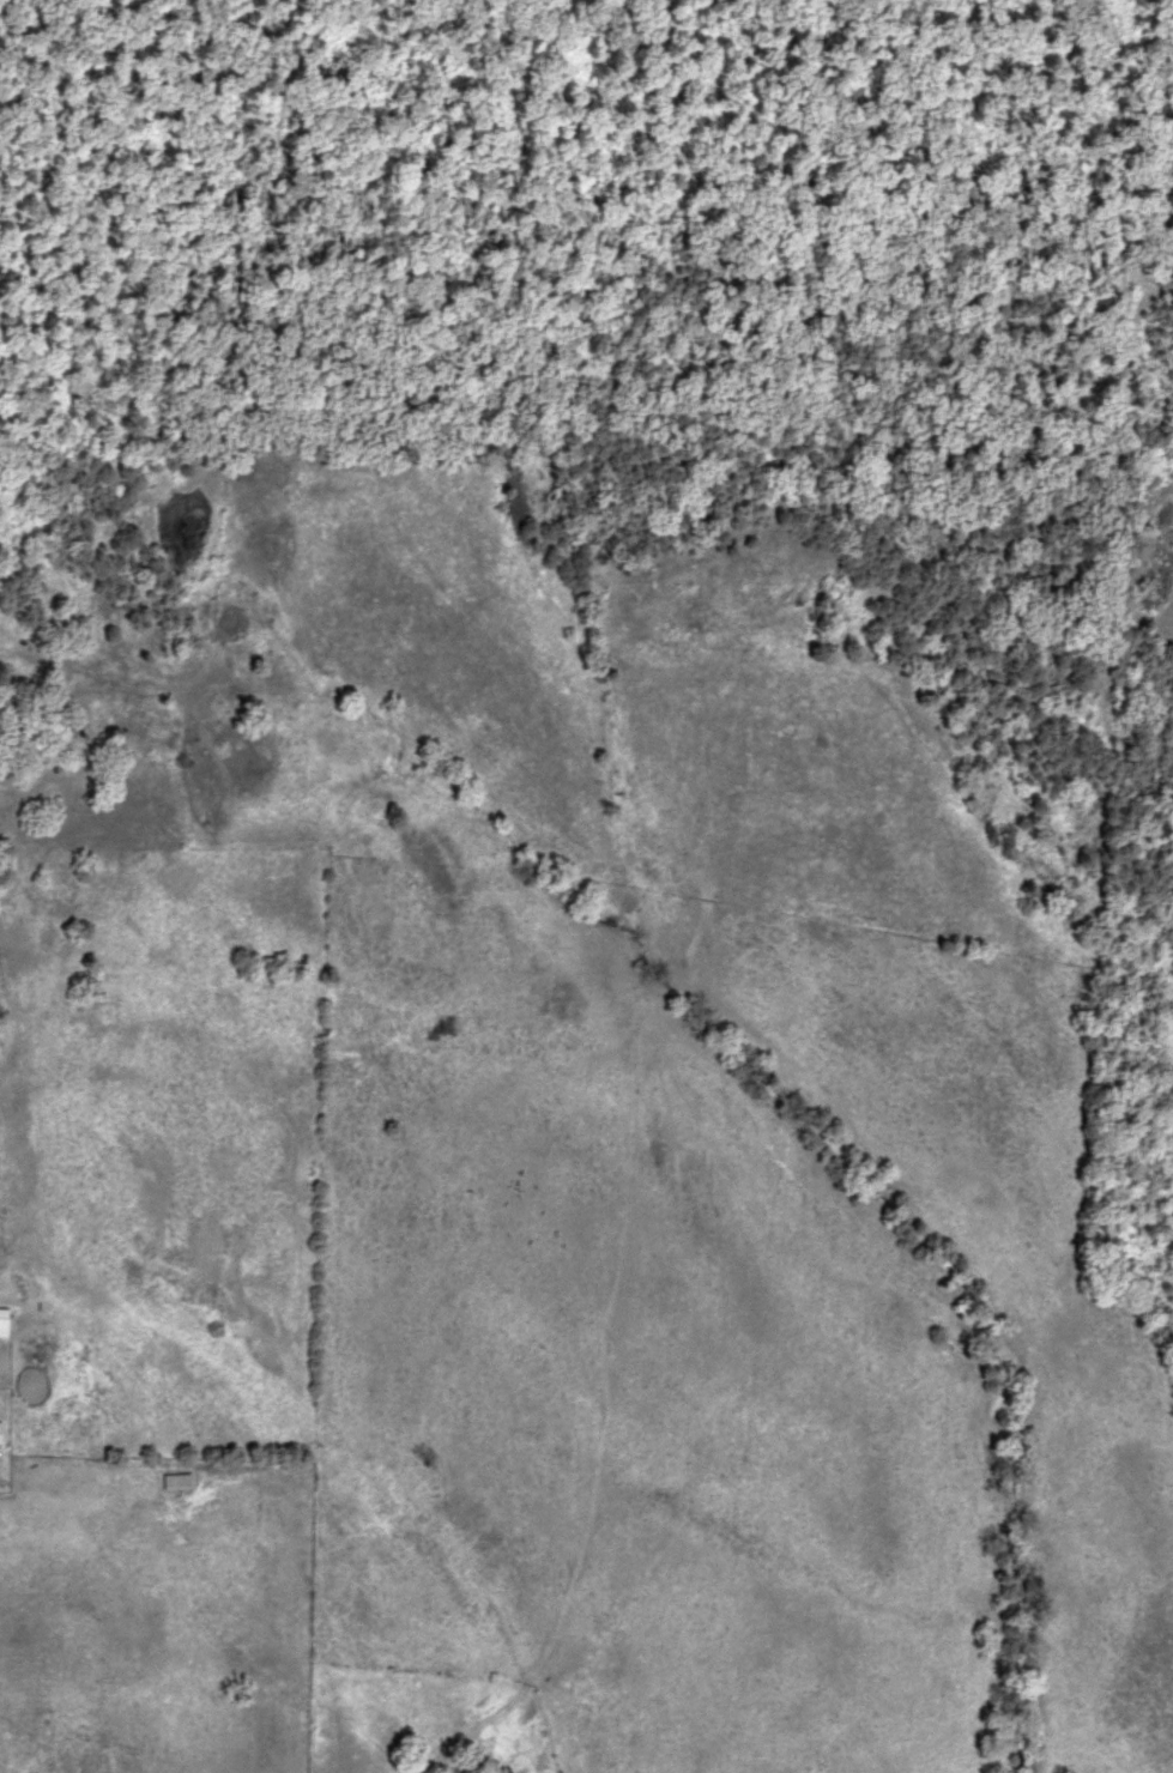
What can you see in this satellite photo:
building: (4, 1323)
building: (0, 1434)
building: (177, 1483)

